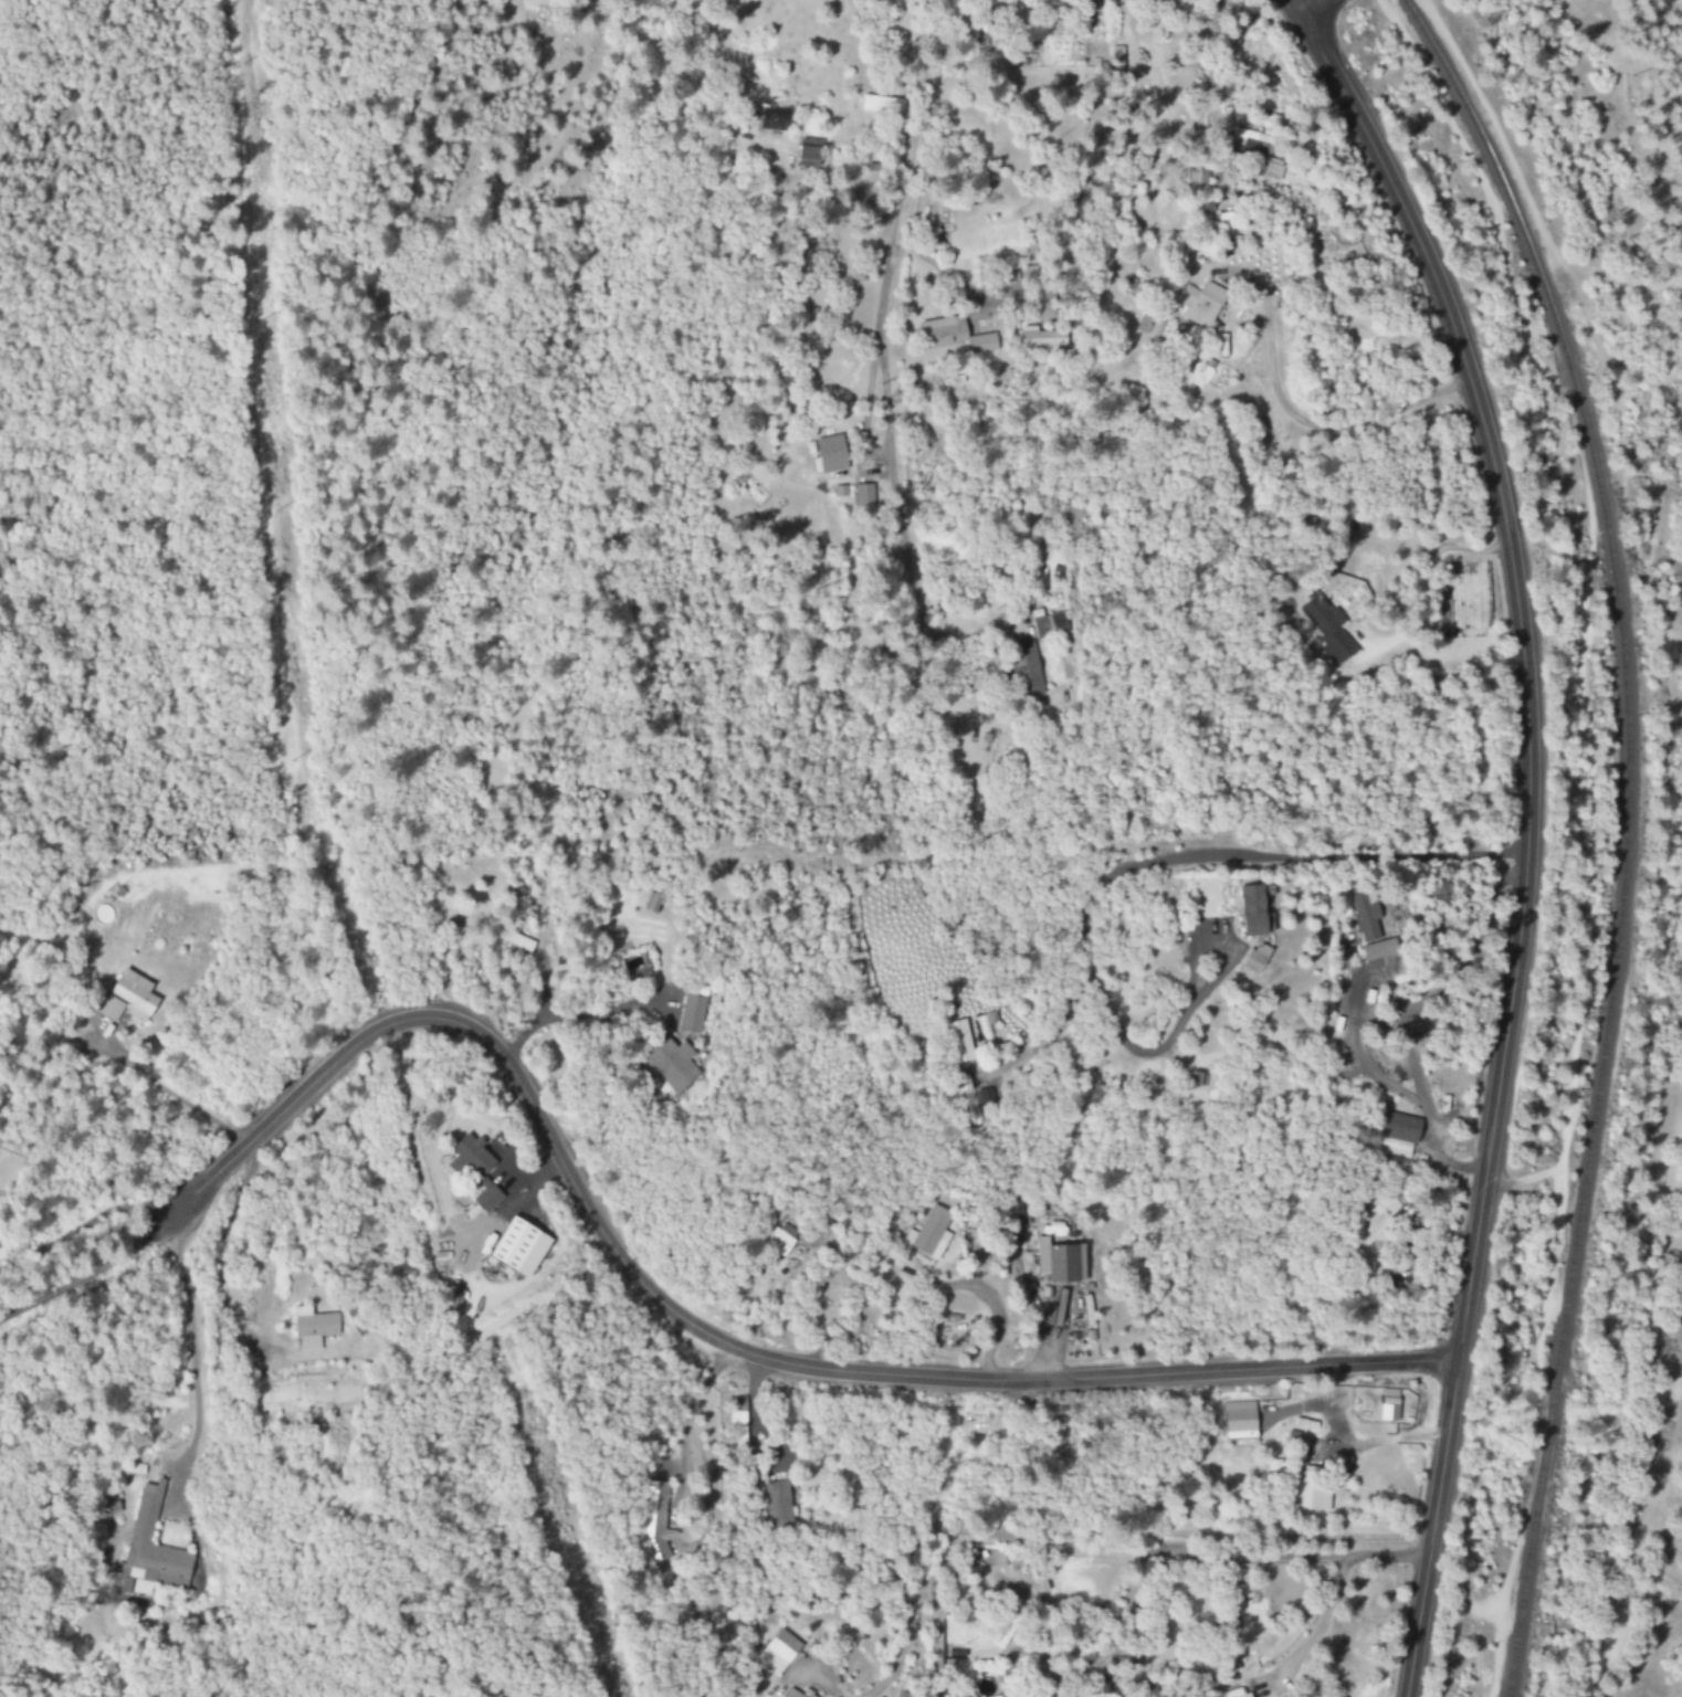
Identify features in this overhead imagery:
road: (1299, 9)
road: (722, 48)
building: (881, 104)
building: (771, 117)
building: (1251, 143)
building: (807, 155)
building: (1271, 172)
building: (1196, 176)
building: (1293, 180)
building: (1200, 306)
building: (955, 336)
building: (1039, 337)
building: (829, 454)
building: (863, 496)
building: (1047, 623)
building: (1327, 628)
building: (1026, 667)
railway: (1625, 831)
road: (1524, 835)
building: (652, 904)
building: (1252, 909)
building: (1369, 927)
building: (512, 939)
building: (1255, 957)
building: (126, 1000)
building: (691, 1014)
building: (959, 1040)
building: (669, 1065)
building: (1196, 1078)
building: (1399, 1136)
building: (477, 1170)
building: (1376, 1218)
building: (931, 1233)
building: (779, 1237)
building: (519, 1247)
building: (1060, 1262)
building: (313, 1327)
road: (697, 1330)
building: (1389, 1405)
building: (737, 1420)
building: (1240, 1421)
building: (1312, 1493)
building: (778, 1504)
building: (654, 1522)
building: (150, 1550)
building: (778, 1652)

